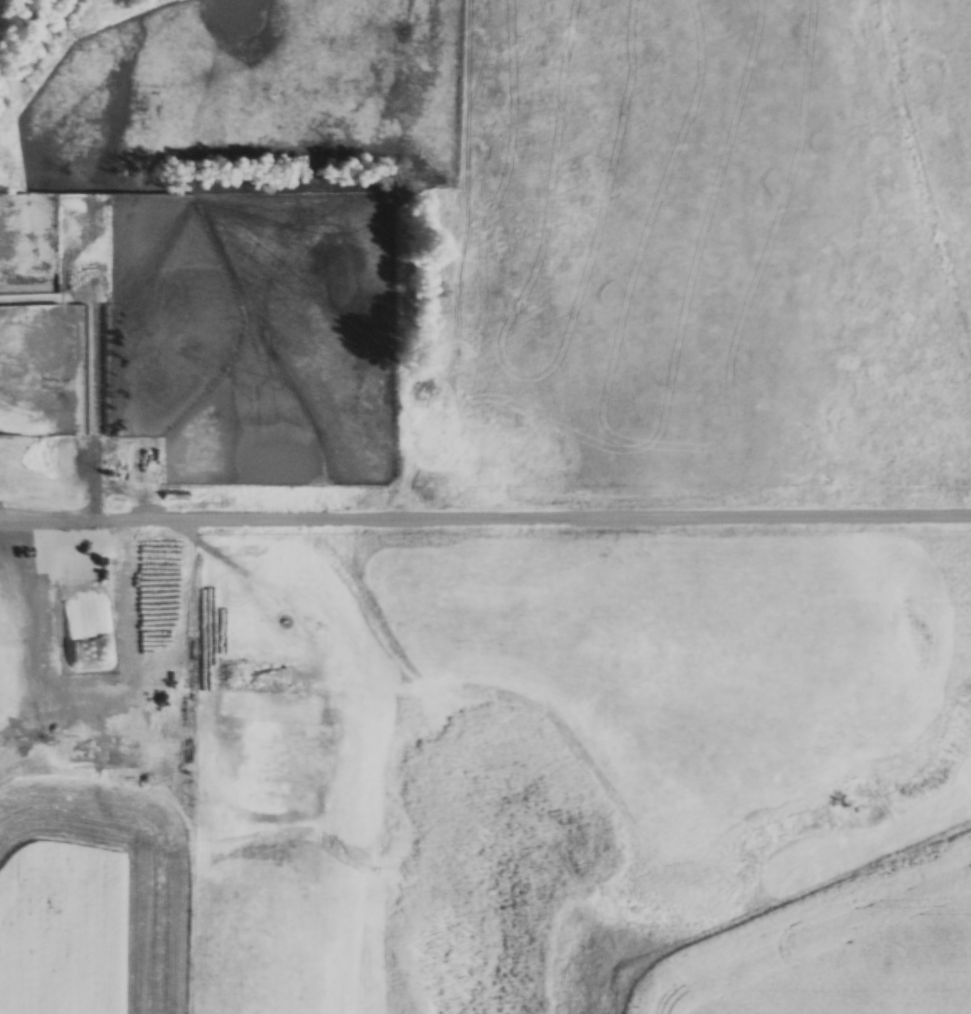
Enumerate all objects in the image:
road: (485, 515)
building: (165, 734)

